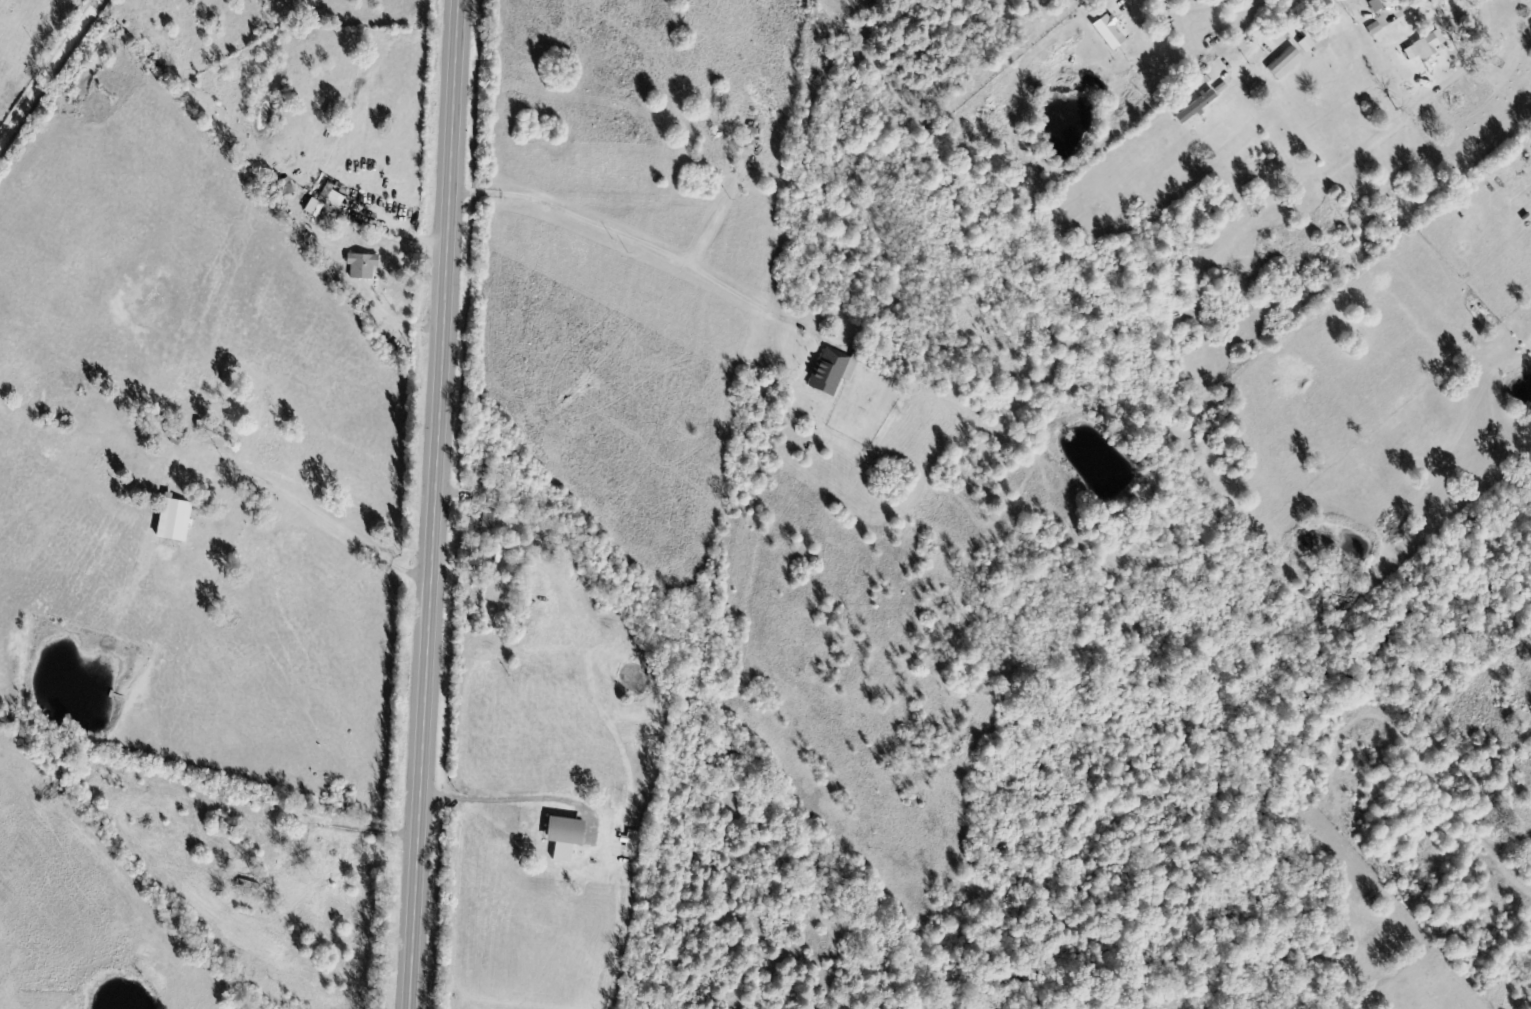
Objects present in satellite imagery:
building: (1114, 34)
building: (1423, 46)
building: (1283, 63)
road: (48, 69)
building: (334, 197)
building: (1475, 254)
building: (365, 267)
building: (833, 373)
railway: (747, 503)
road: (436, 504)
building: (570, 839)
building: (337, 854)

